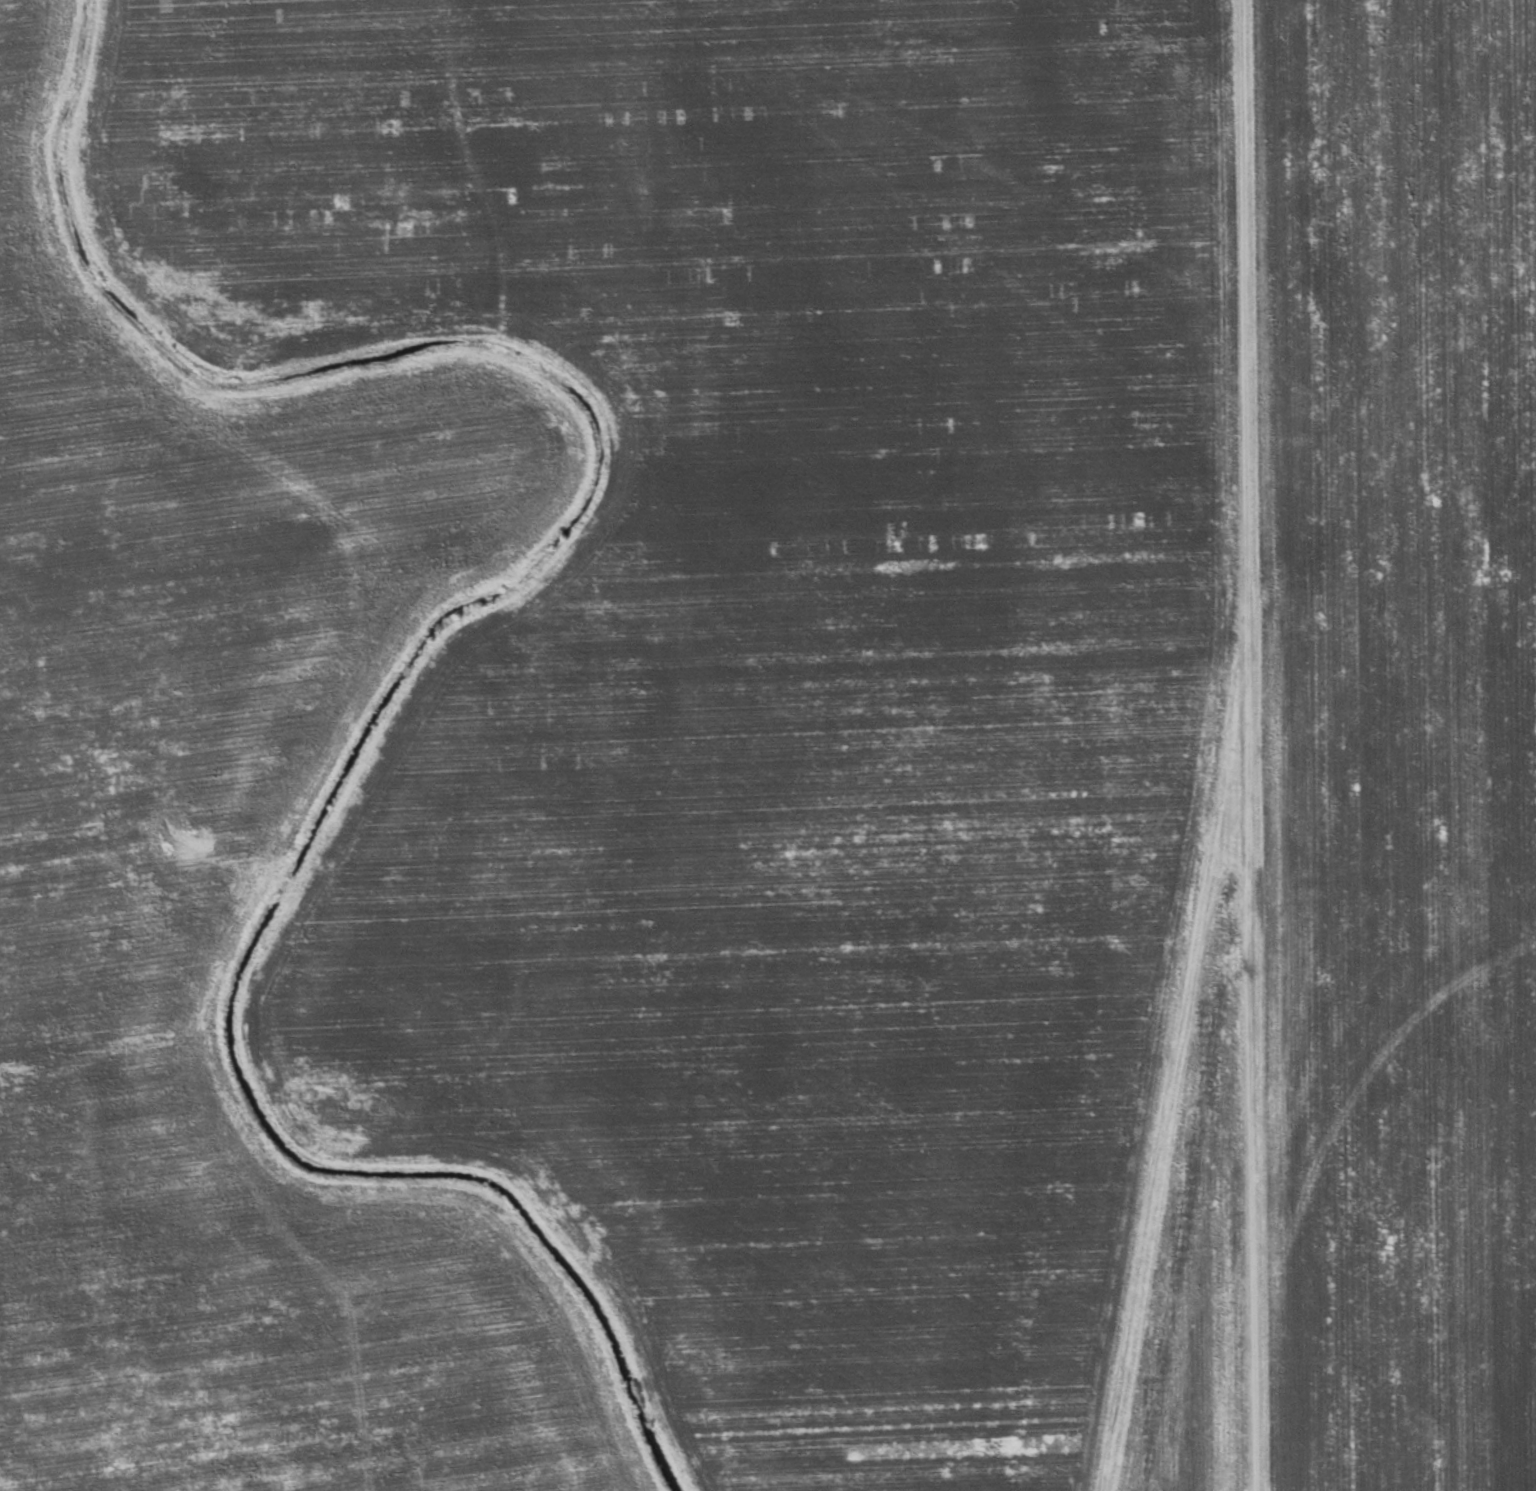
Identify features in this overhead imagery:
road: (1237, 745)

